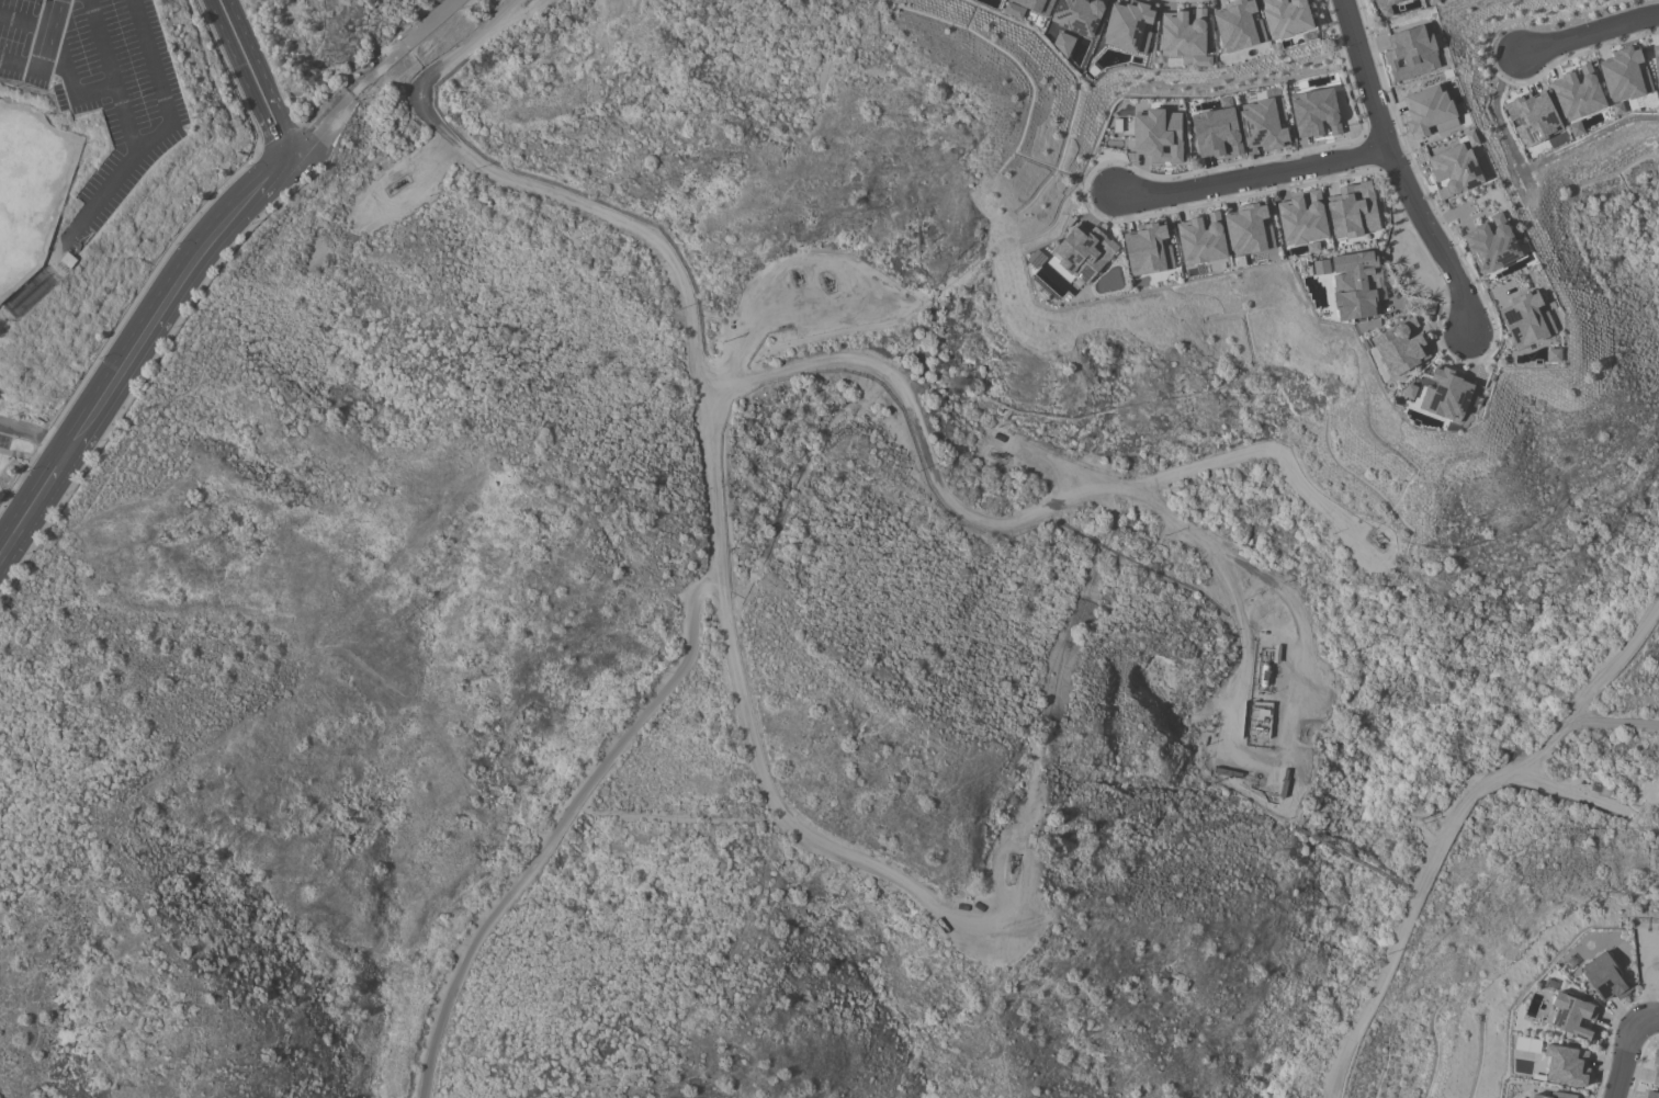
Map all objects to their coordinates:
building: (1035, 4)
building: (1385, 7)
building: (1014, 10)
building: (1079, 15)
building: (1286, 18)
road: (24, 23)
building: (1239, 25)
building: (1129, 27)
road: (46, 34)
road: (1591, 34)
building: (1185, 35)
building: (1063, 43)
road: (408, 47)
building: (1411, 54)
building: (1656, 61)
road: (19, 64)
building: (1624, 78)
road: (256, 79)
road: (70, 86)
parking lot: (99, 86)
building: (1578, 93)
building: (1429, 111)
building: (1316, 113)
building: (1533, 117)
building: (1263, 123)
road: (324, 125)
building: (1576, 128)
building: (1216, 132)
building: (1159, 136)
road: (143, 148)
road: (1400, 170)
building: (1454, 170)
road: (1252, 174)
petroleum well: (394, 184)
road: (101, 195)
park: (27, 196)
building: (1353, 211)
building: (1302, 220)
building: (1249, 229)
building: (1200, 239)
building: (1491, 245)
building: (1149, 249)
building: (1083, 252)
building: (71, 263)
building: (1321, 267)
petroleum well: (794, 274)
petroleum well: (824, 279)
building: (1356, 284)
road: (171, 298)
building: (1527, 319)
building: (1400, 348)
building: (1554, 354)
building: (1409, 392)
building: (1446, 395)
parking lot: (5, 430)
road: (35, 441)
road: (55, 477)
road: (1040, 510)
road: (20, 531)
road: (720, 545)
road: (1614, 722)
road: (680, 813)
road: (1454, 819)
road: (561, 823)
building: (1604, 977)
building: (1573, 1016)
road: (1627, 1050)
building: (1566, 1065)
building: (1656, 1067)
building: (1555, 1095)
building: (1651, 1095)

